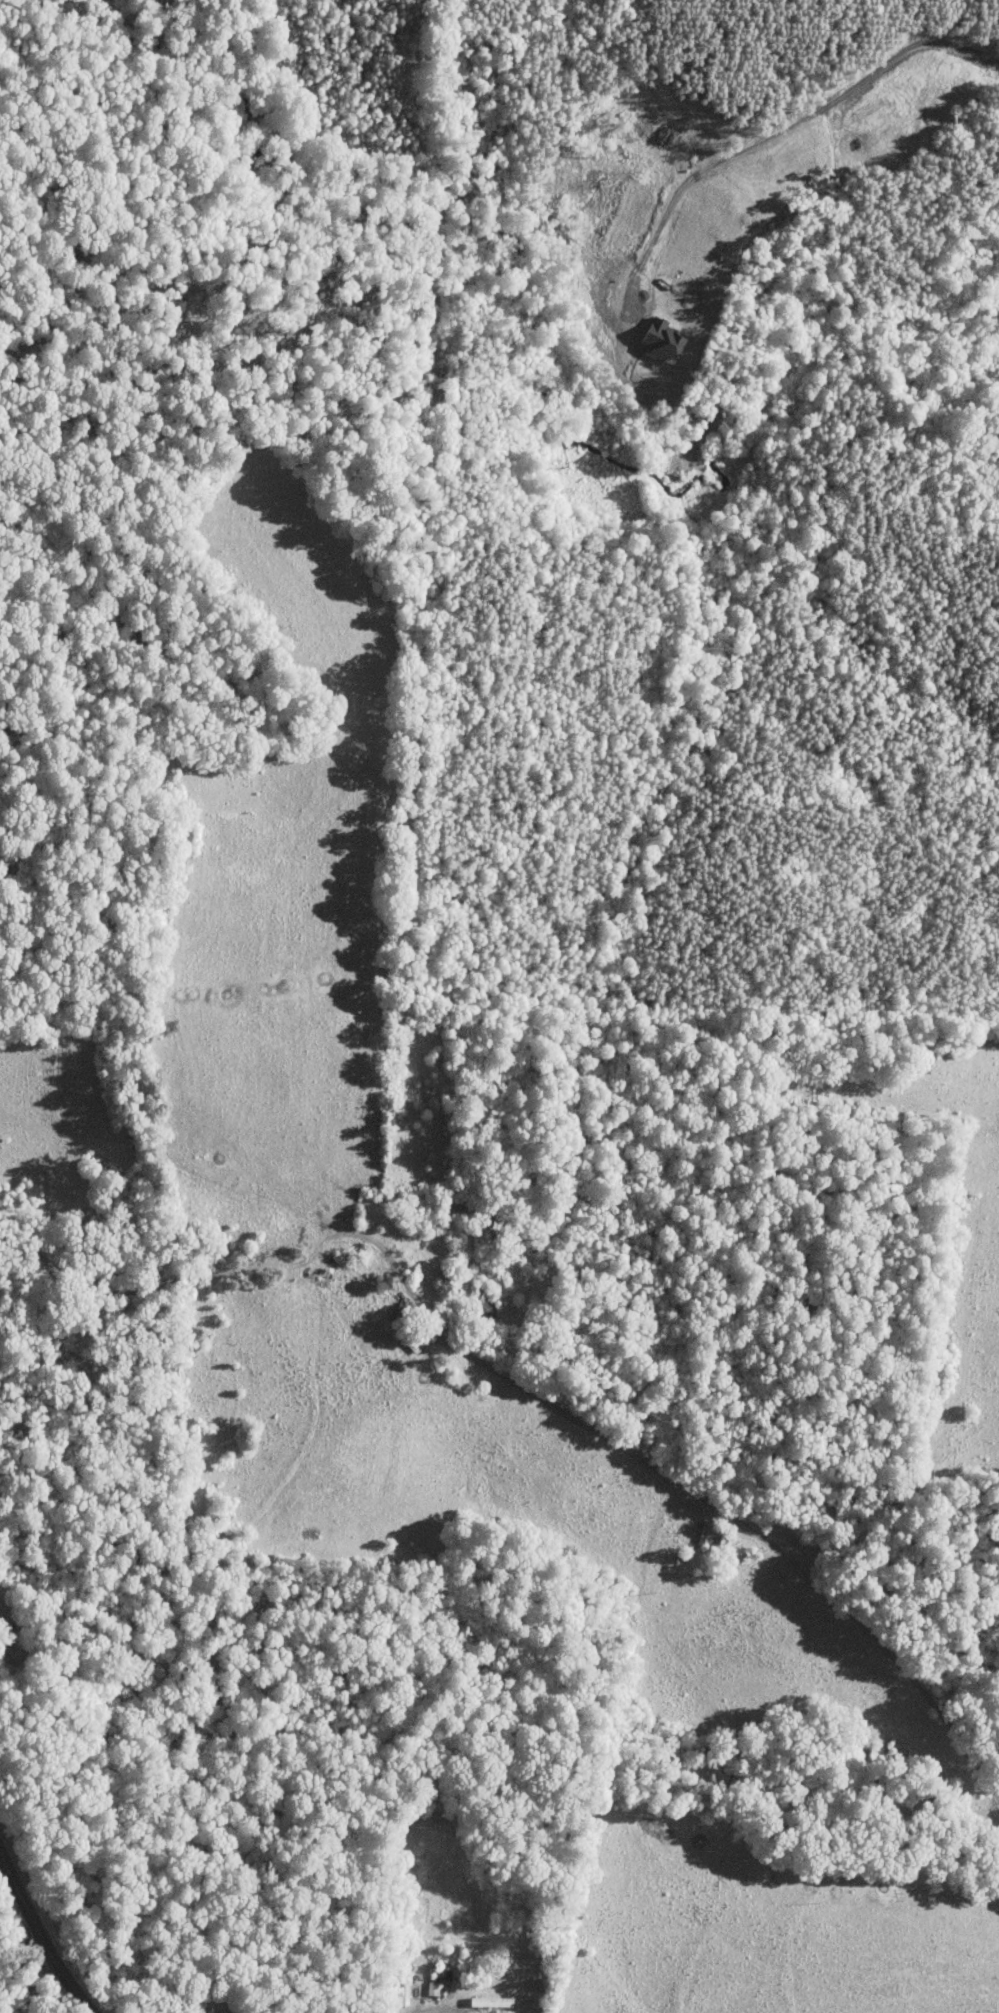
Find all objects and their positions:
road: (799, 134)
road: (723, 1511)
road: (21, 1940)
road: (42, 1942)
road: (22, 1963)
road: (30, 1982)
building: (494, 2001)
road: (434, 2010)

